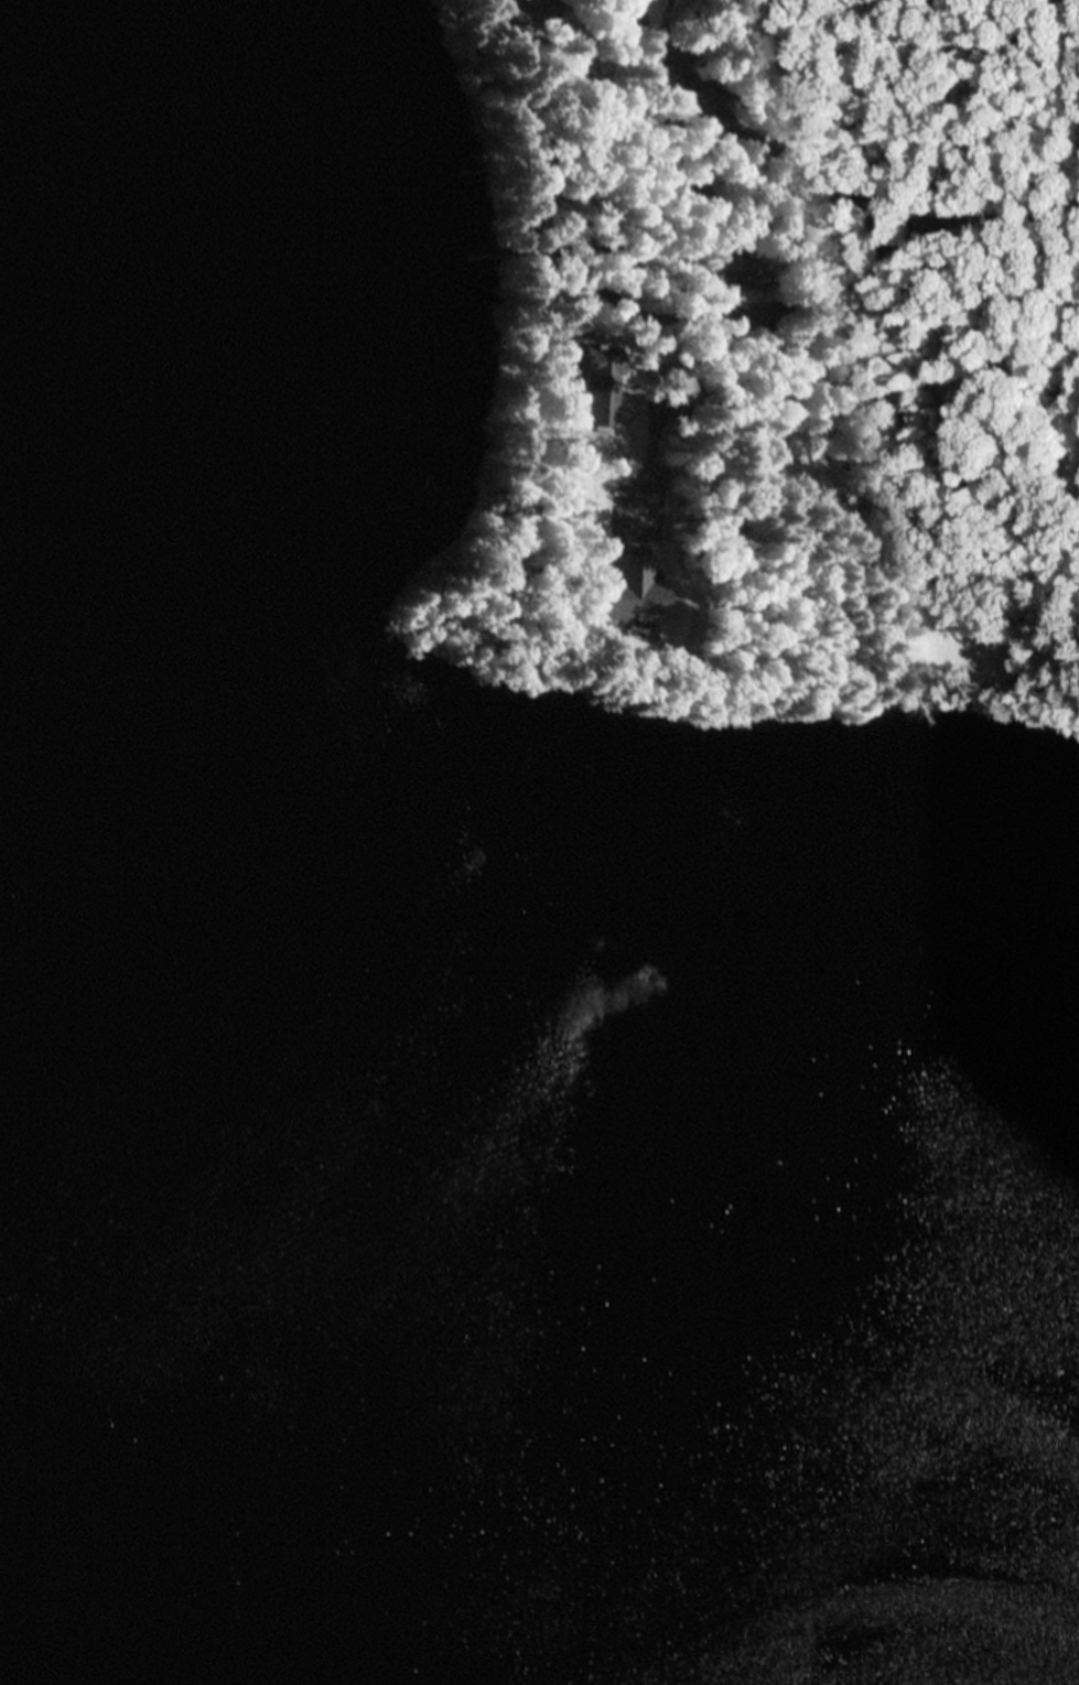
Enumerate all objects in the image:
building: (529, 11)
building: (501, 14)
building: (576, 52)
building: (676, 69)
building: (583, 82)
road: (861, 194)
building: (742, 273)
building: (606, 381)
building: (590, 601)
river: (540, 1476)

